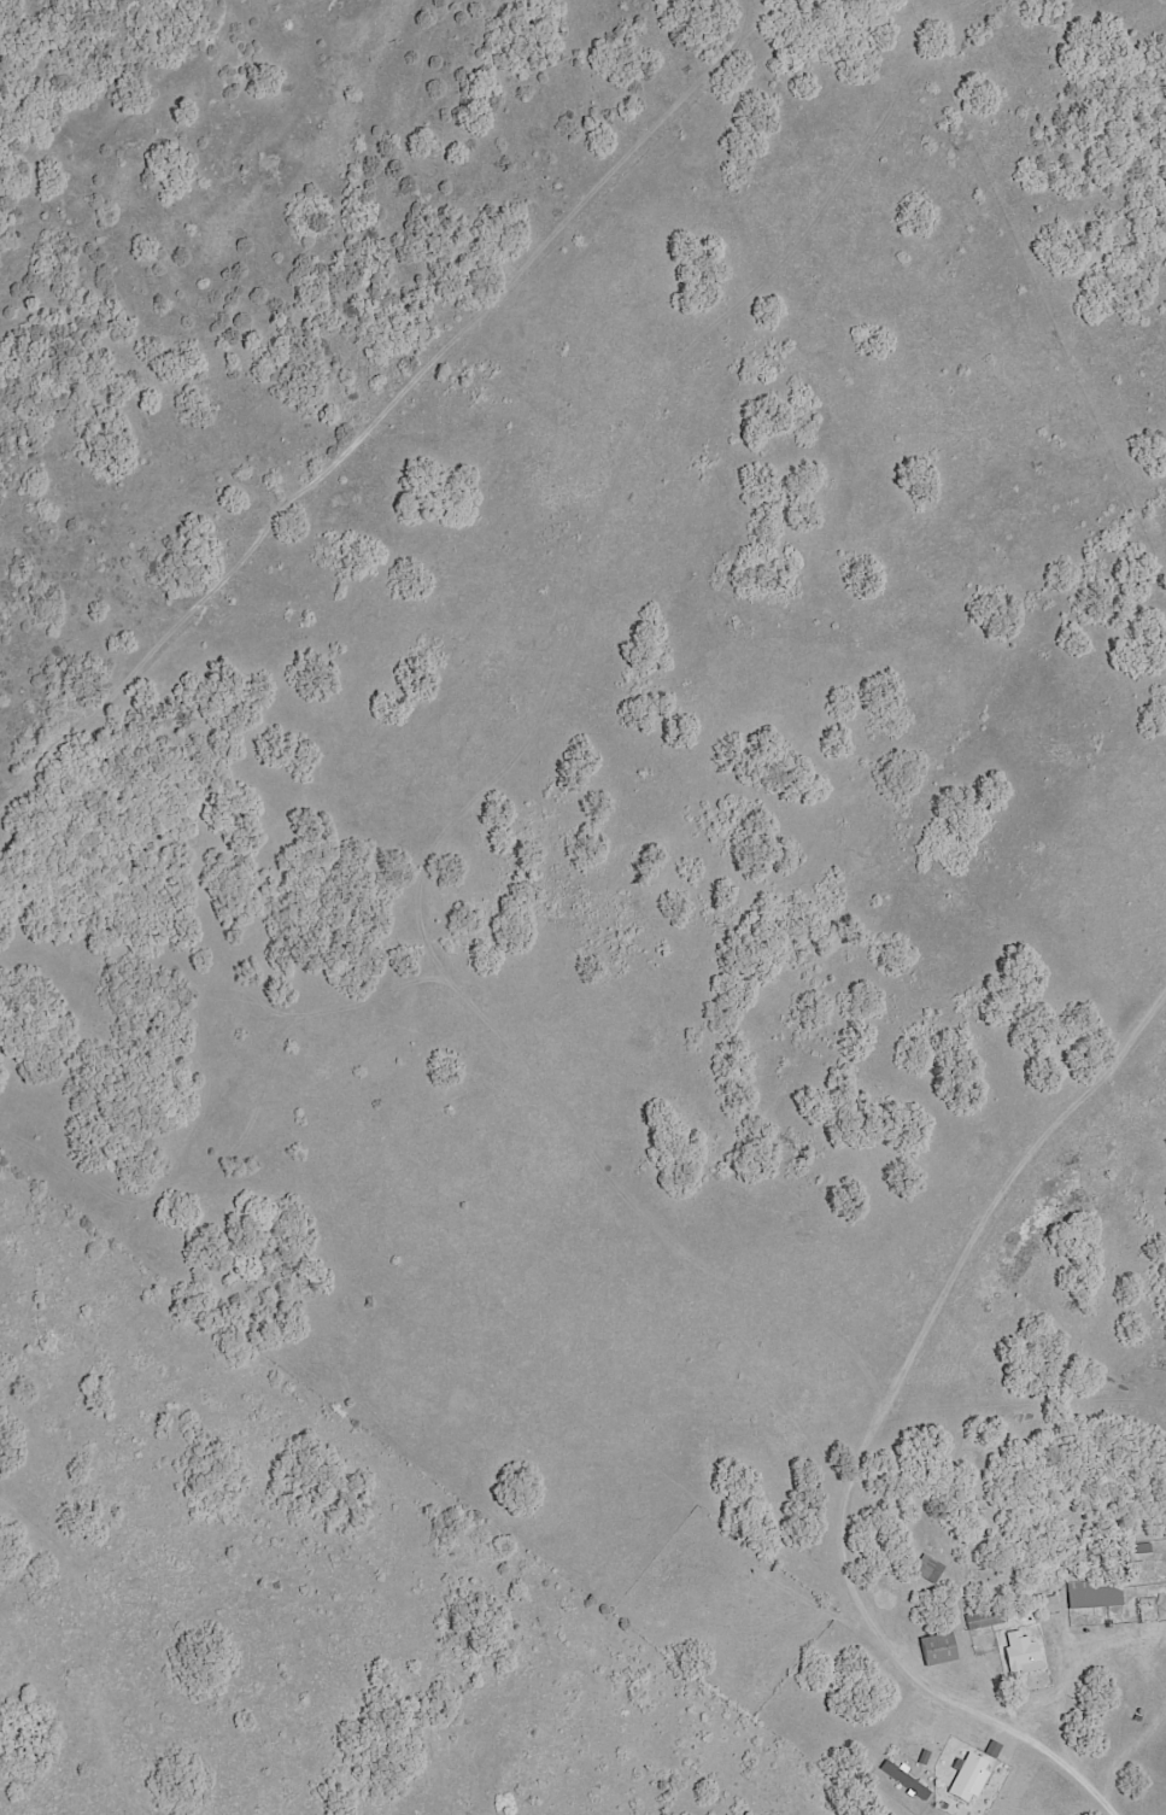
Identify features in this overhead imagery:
building: (925, 1568)
building: (1089, 1596)
building: (1045, 1604)
road: (886, 1645)
building: (932, 1649)
building: (1015, 1653)
building: (900, 1779)
building: (963, 1779)
road: (1103, 1803)

